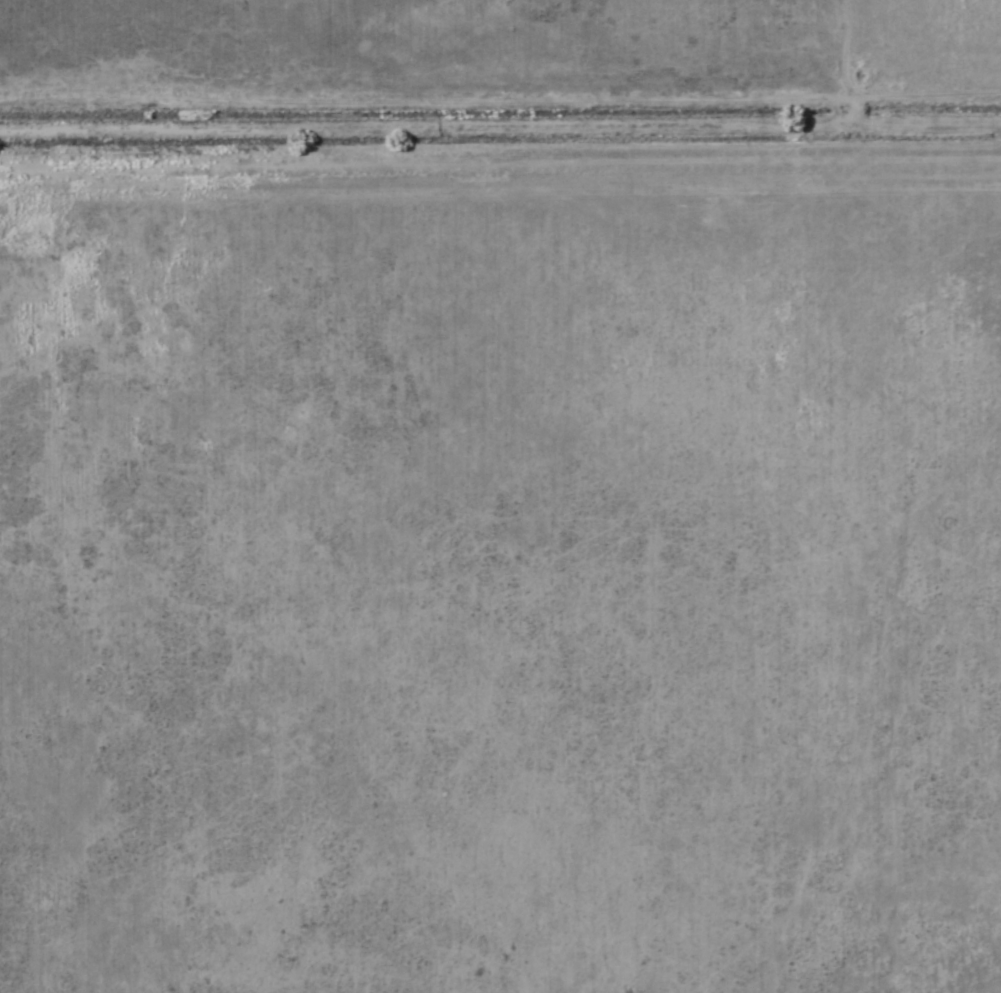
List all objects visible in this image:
road: (412, 60)
road: (883, 491)

